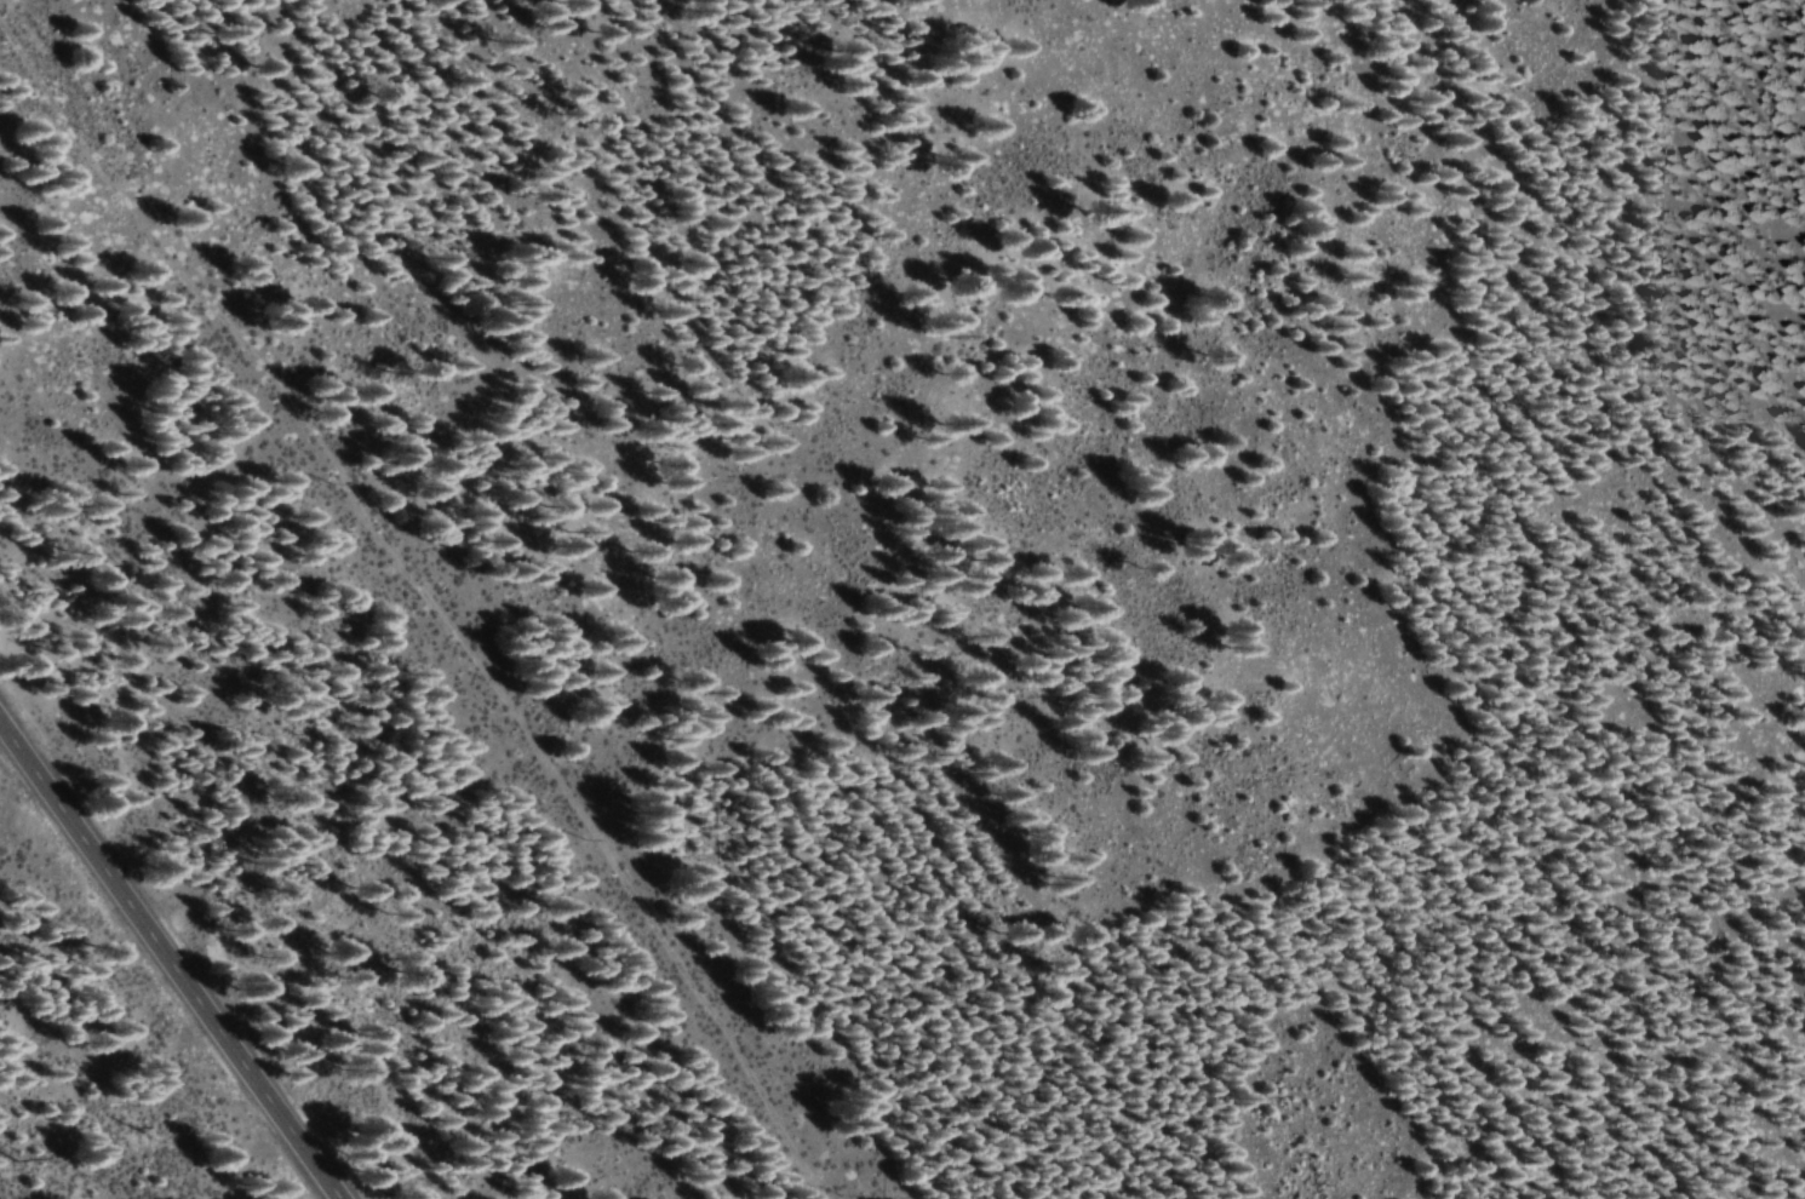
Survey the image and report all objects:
road: (173, 954)

